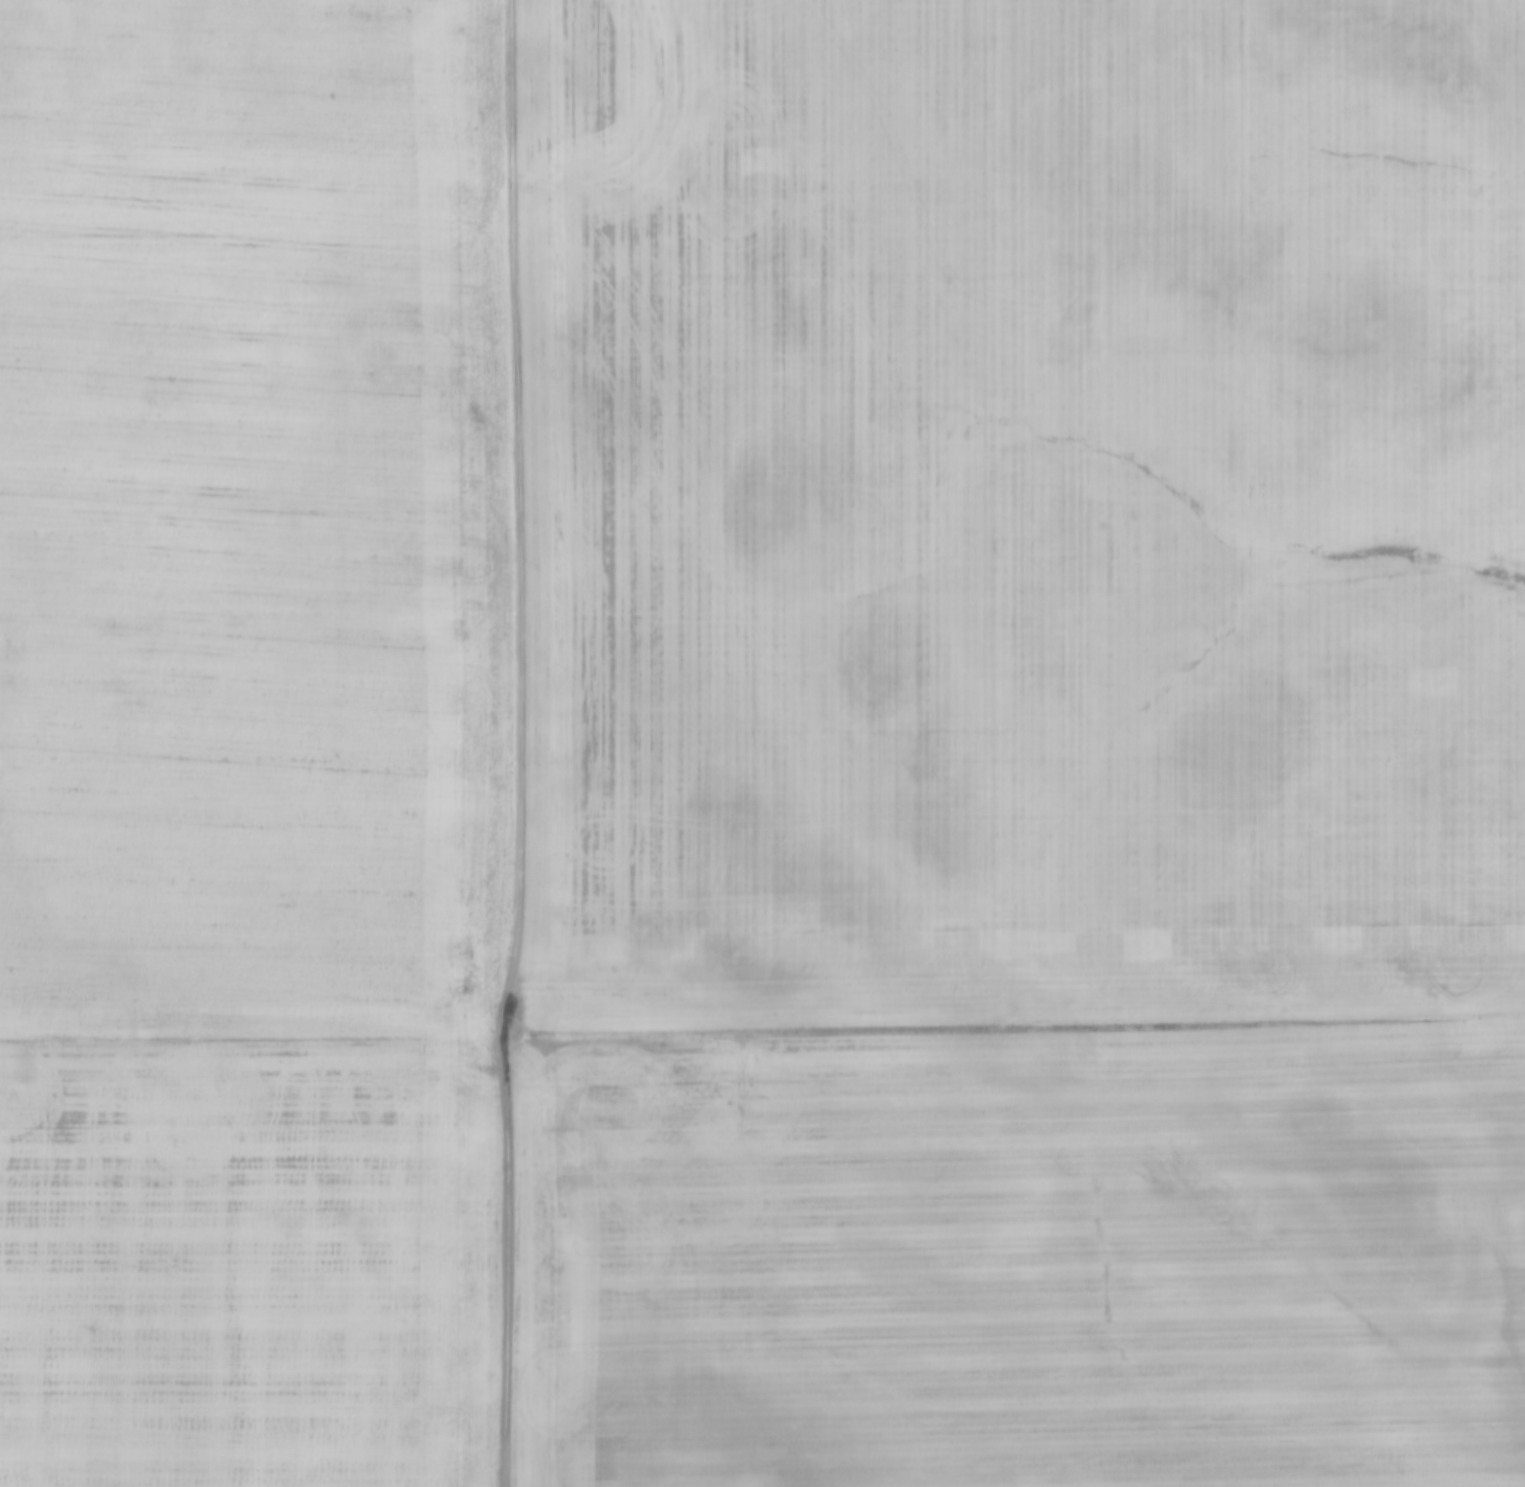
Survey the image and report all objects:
road: (522, 743)
road: (255, 1016)

